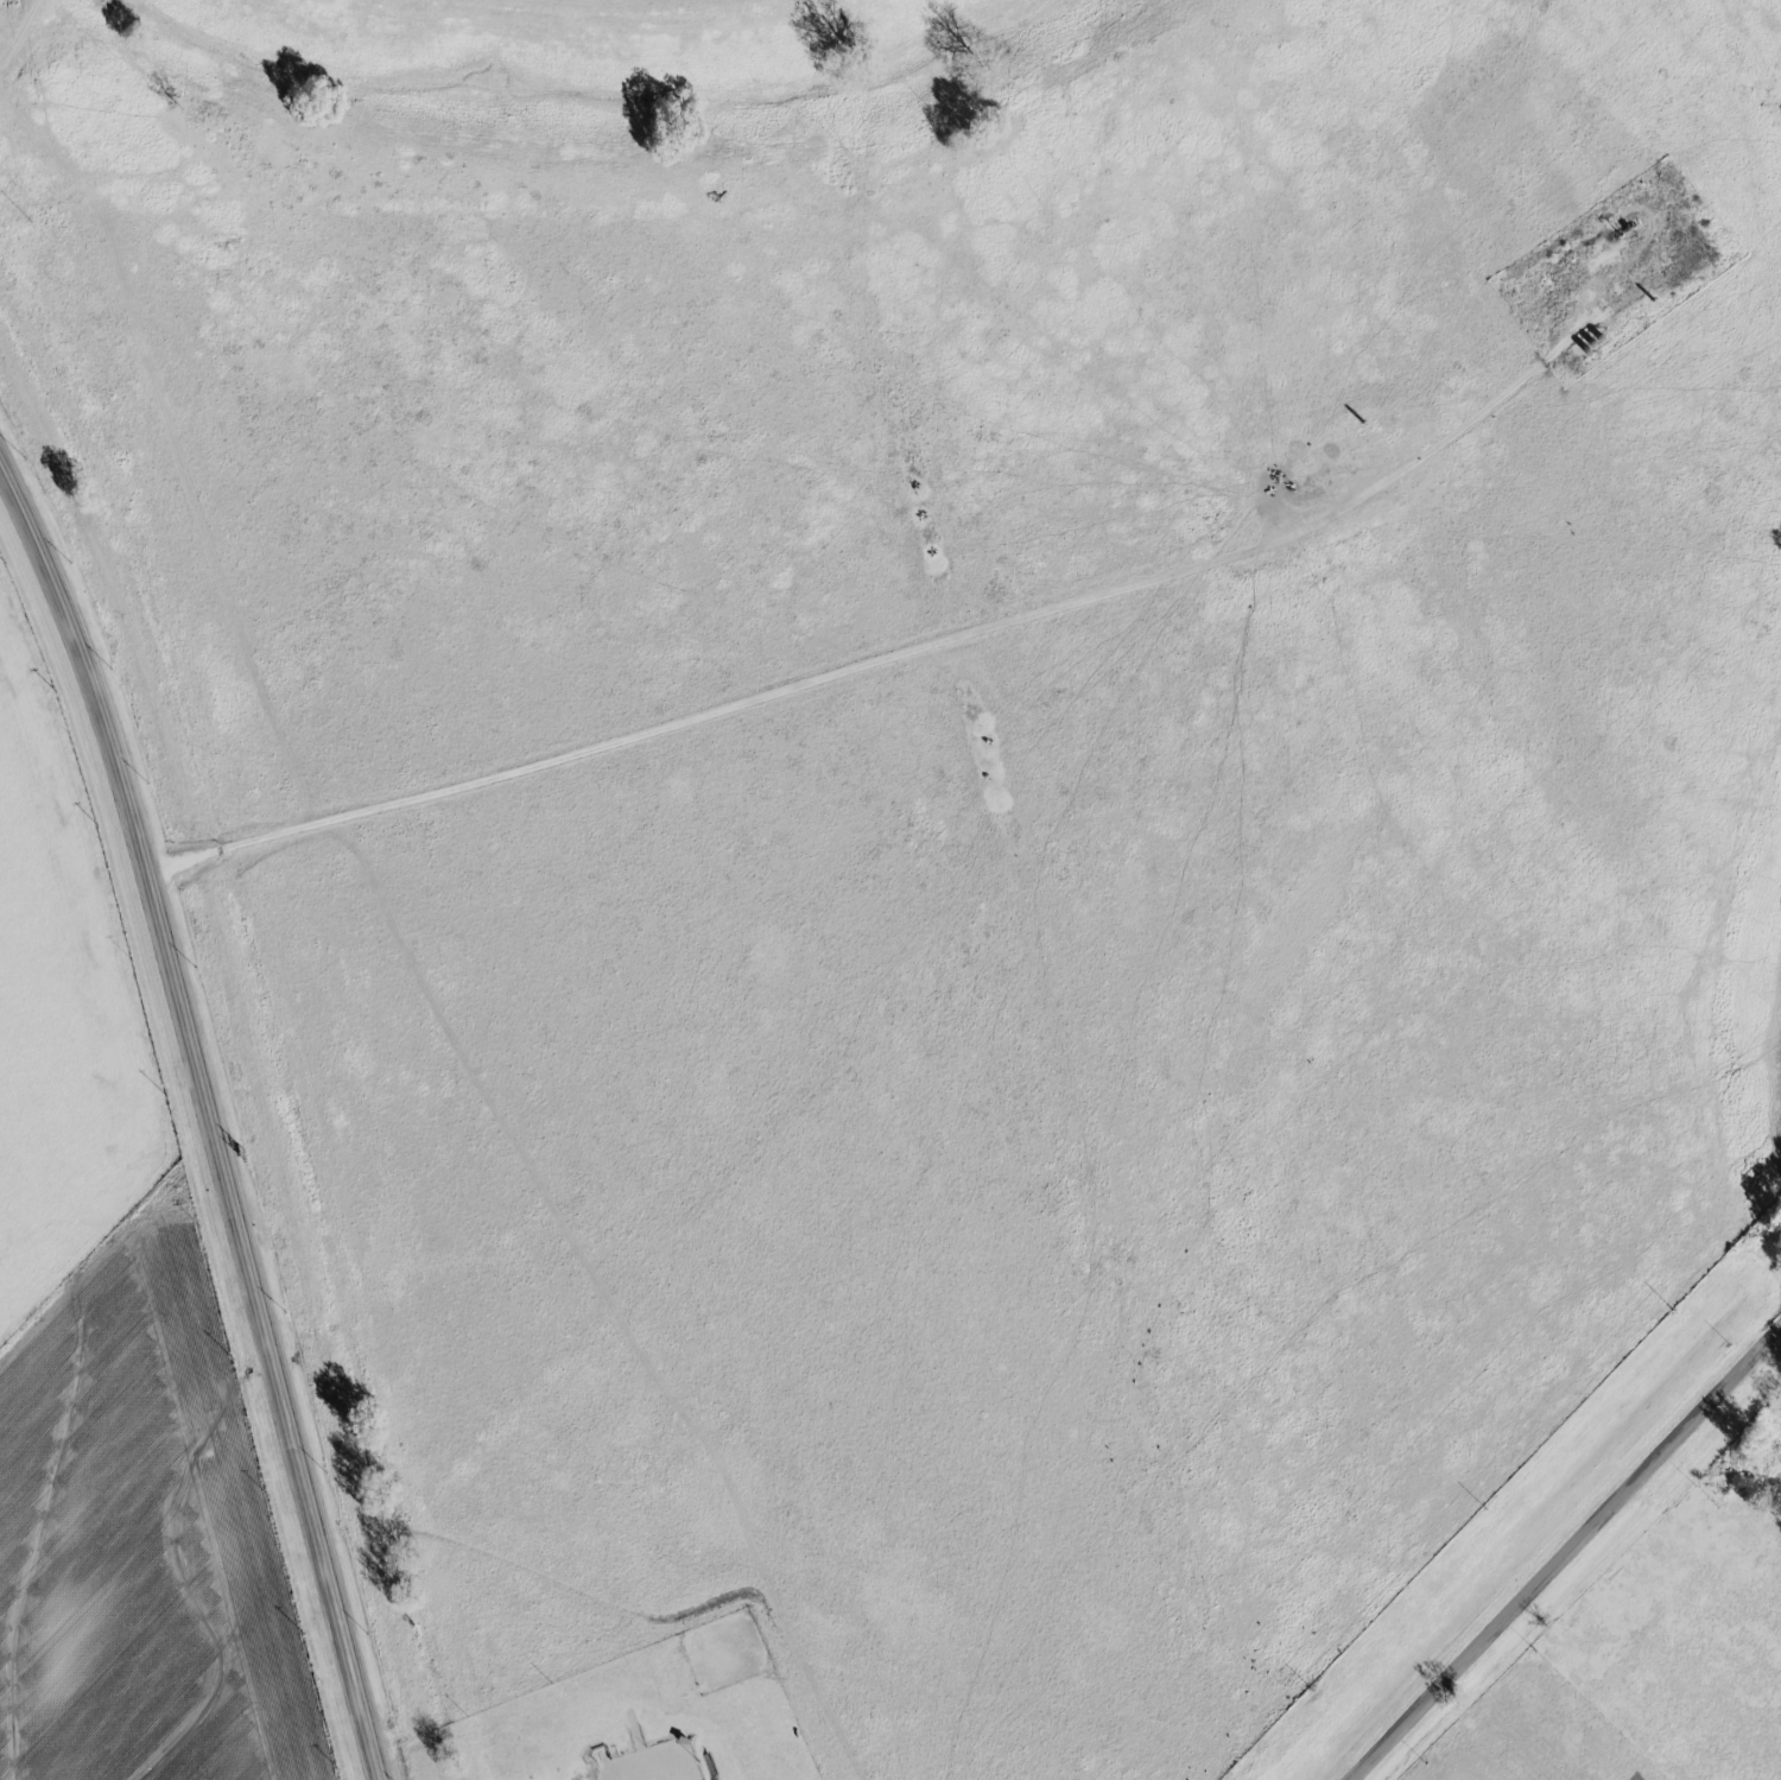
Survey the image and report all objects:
road: (750, 698)
railway: (259, 1045)
road: (209, 1119)
road: (1766, 1361)
railway: (356, 1434)
road: (1559, 1548)

